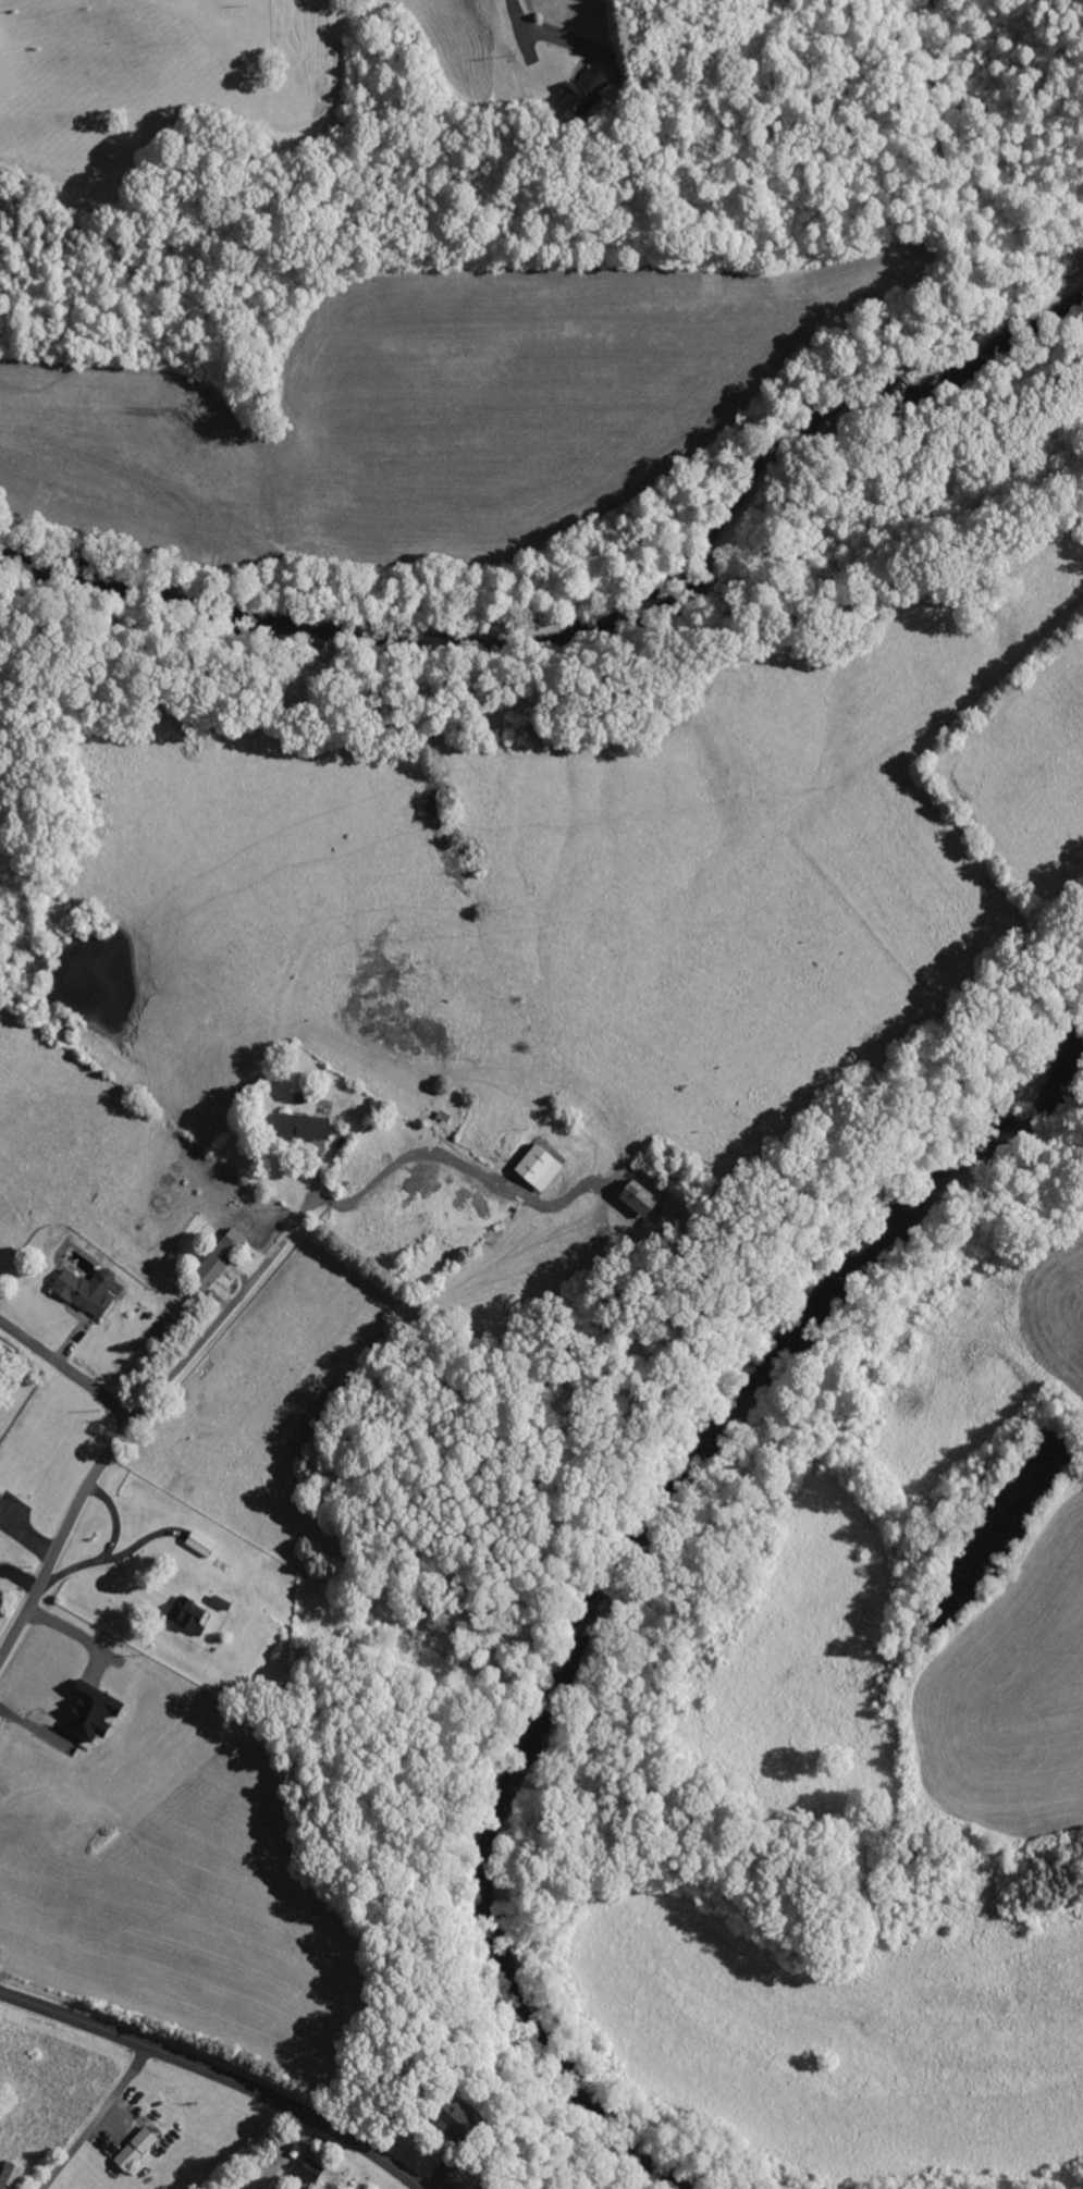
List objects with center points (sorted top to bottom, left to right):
road: (515, 14)
building: (582, 95)
building: (304, 1126)
building: (528, 1165)
building: (636, 1197)
building: (218, 1258)
building: (87, 1290)
road: (221, 1313)
road: (66, 1368)
building: (0, 1493)
road: (60, 1538)
building: (188, 1614)
building: (90, 1711)
road: (2, 2014)
road: (217, 2077)
building: (455, 2116)
building: (135, 2150)
building: (310, 2170)
building: (10, 2176)
building: (456, 2181)

